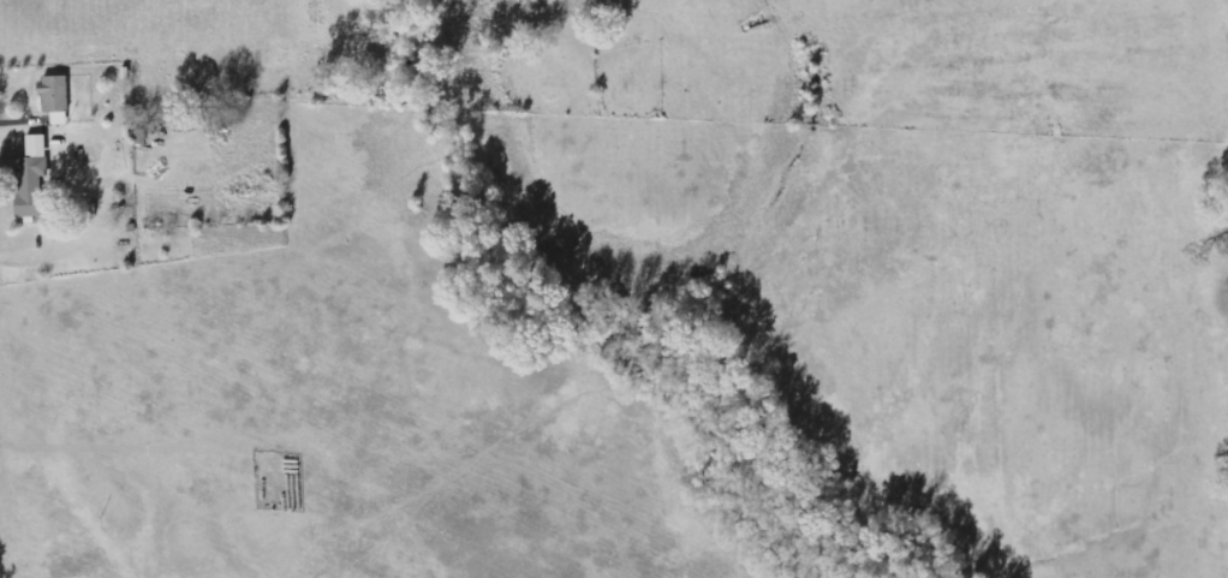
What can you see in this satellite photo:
building: (56, 100)
building: (34, 180)

